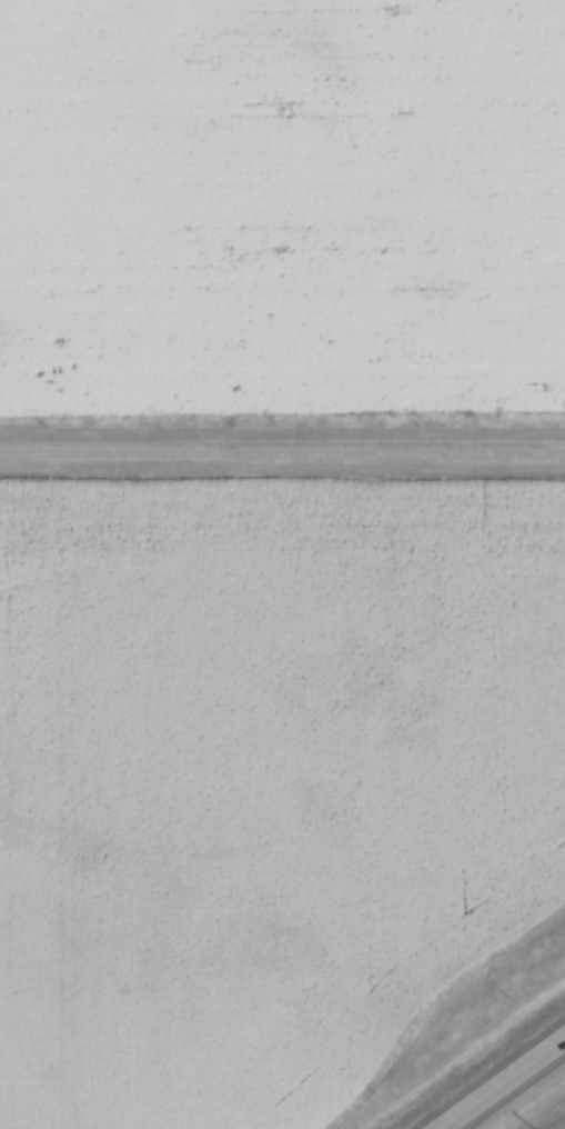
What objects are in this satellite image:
road: (504, 1085)

